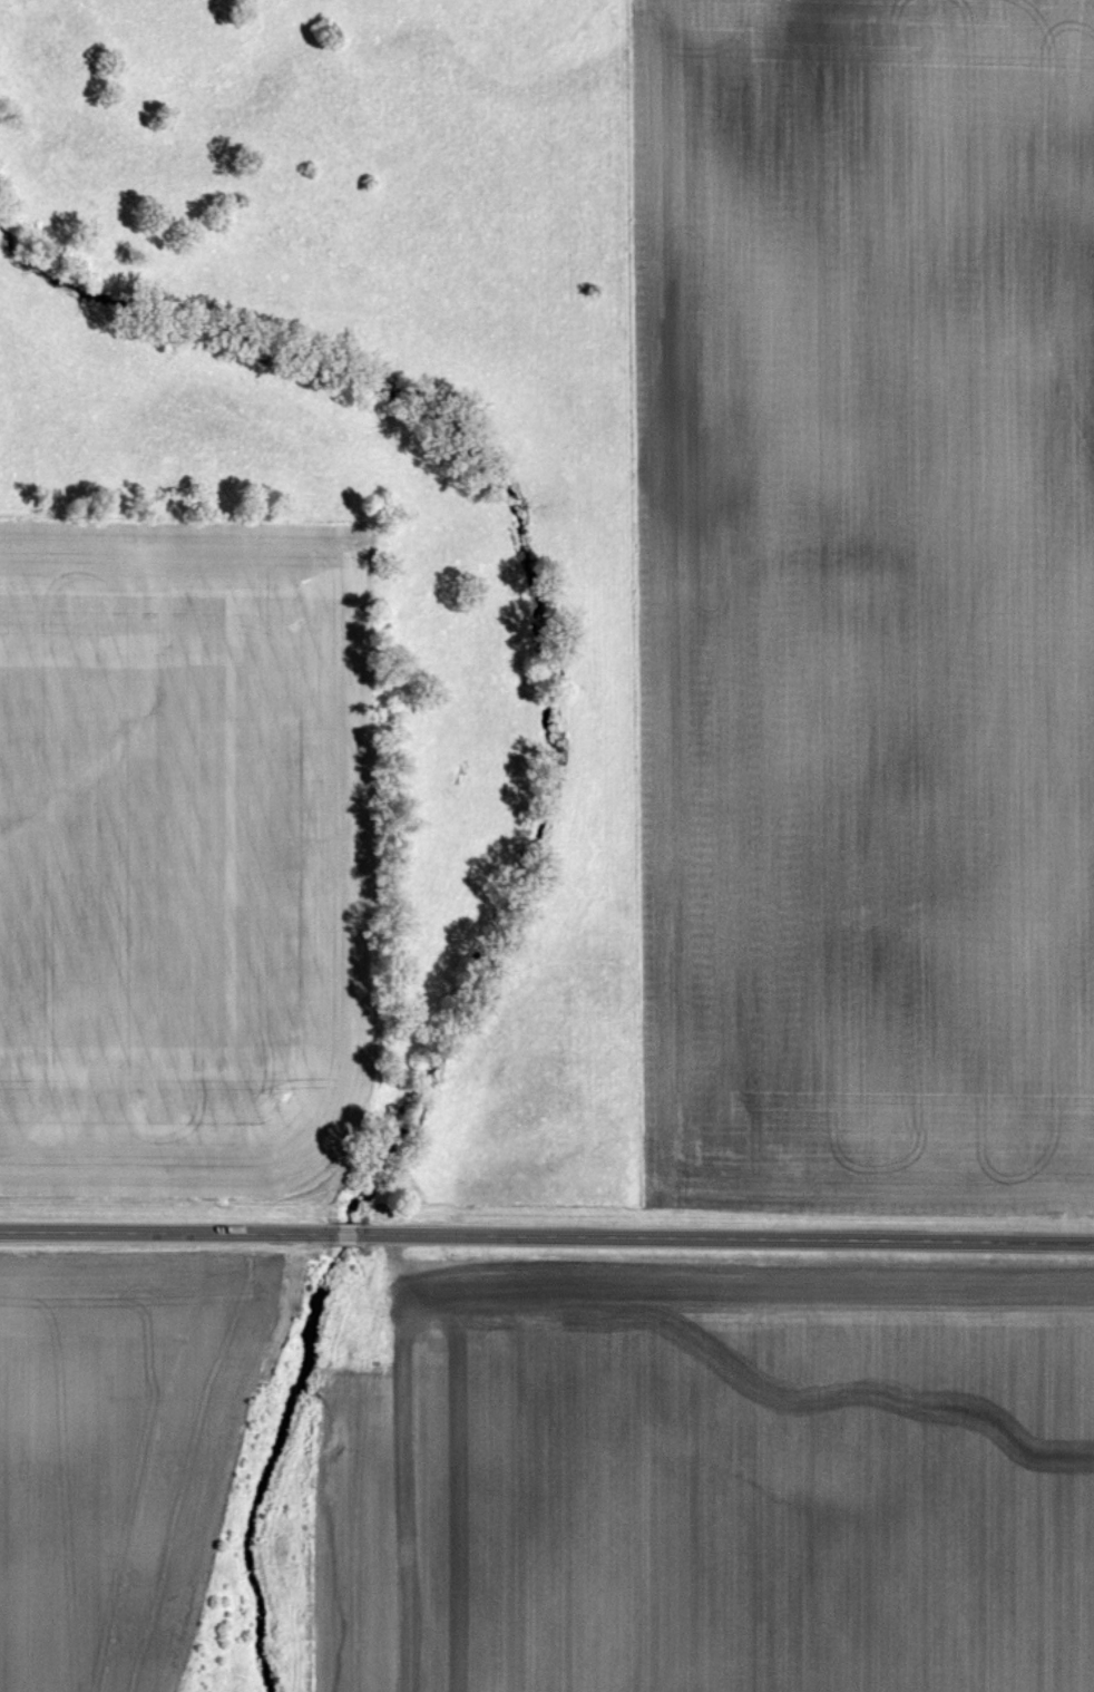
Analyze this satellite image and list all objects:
road: (547, 1234)

